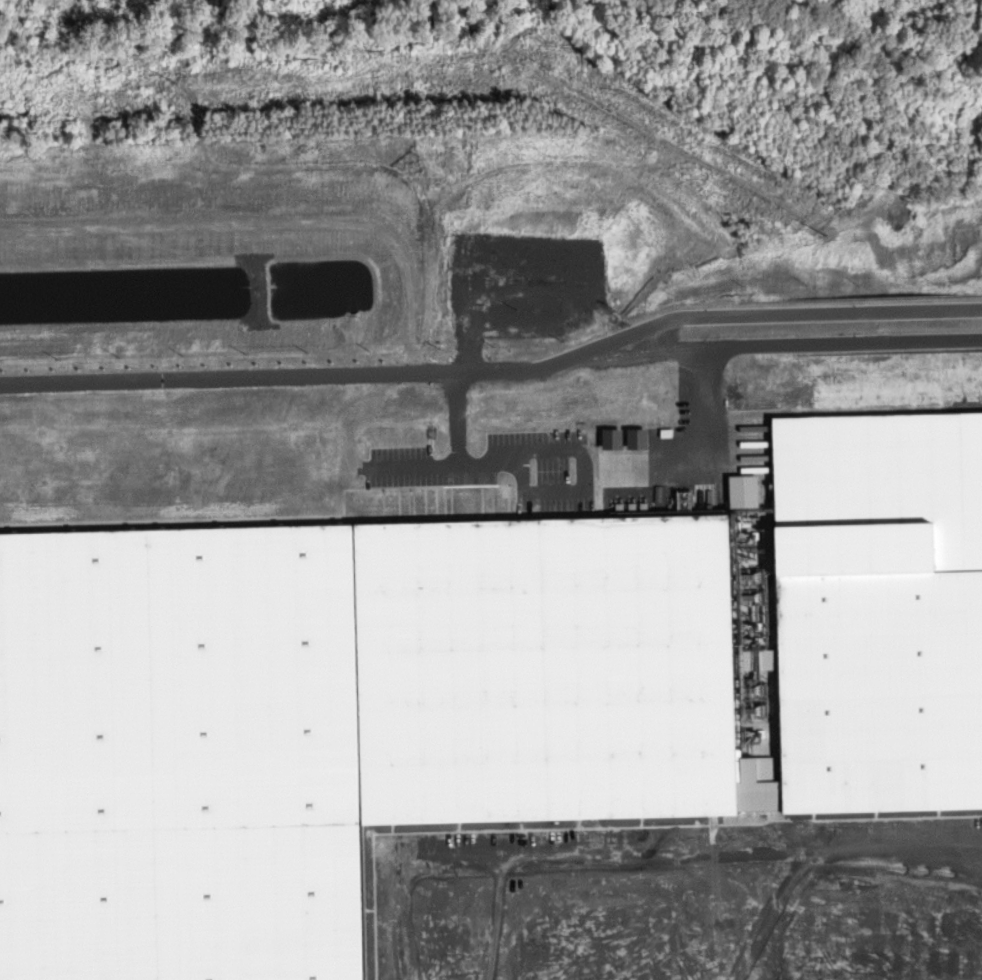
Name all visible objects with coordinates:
road: (495, 371)
road: (822, 841)

